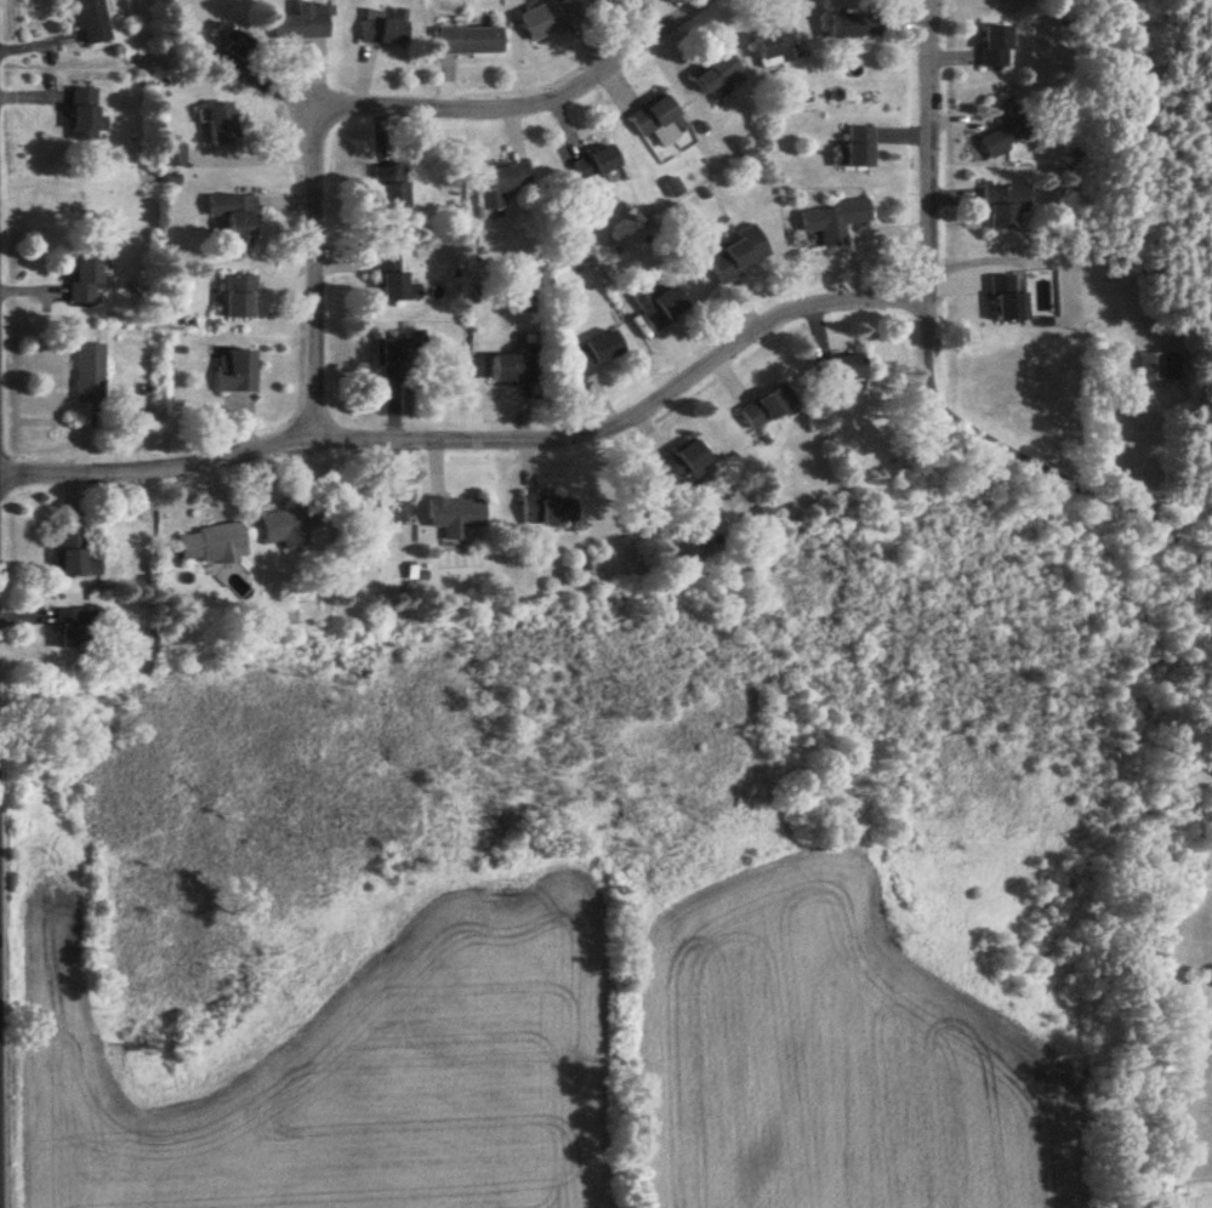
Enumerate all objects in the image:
building: (548, 17)
building: (91, 21)
building: (300, 25)
building: (850, 25)
building: (382, 30)
building: (467, 41)
building: (775, 42)
building: (992, 46)
building: (717, 76)
road: (533, 109)
building: (82, 115)
building: (659, 121)
building: (220, 125)
building: (1002, 127)
building: (859, 147)
building: (172, 156)
building: (594, 167)
road: (932, 175)
building: (503, 183)
building: (389, 188)
building: (1003, 205)
building: (233, 218)
building: (833, 221)
building: (739, 255)
building: (391, 278)
road: (315, 279)
building: (81, 281)
building: (237, 297)
building: (1007, 301)
building: (658, 307)
building: (403, 353)
building: (596, 354)
building: (1155, 367)
building: (847, 369)
building: (512, 370)
building: (234, 371)
building: (87, 374)
building: (767, 408)
road: (482, 444)
building: (685, 465)
road: (1053, 474)
building: (550, 509)
building: (370, 514)
building: (455, 517)
building: (284, 530)
building: (212, 545)
building: (75, 558)
building: (74, 629)

